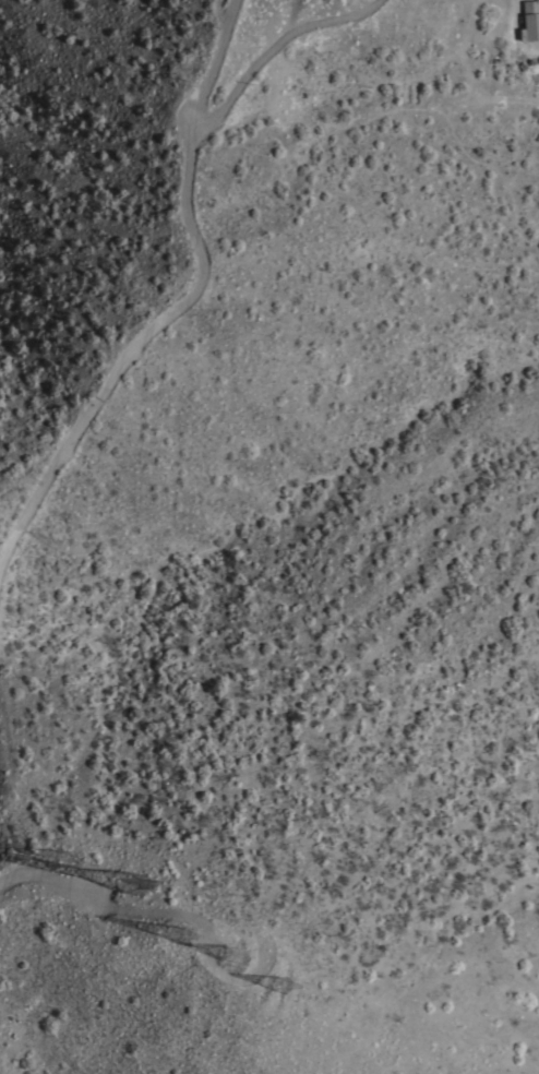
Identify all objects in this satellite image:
building: (529, 20)
road: (167, 289)
power tower: (65, 874)
power tower: (179, 936)
power tower: (133, 940)
power tower: (237, 960)
power tower: (287, 1003)

